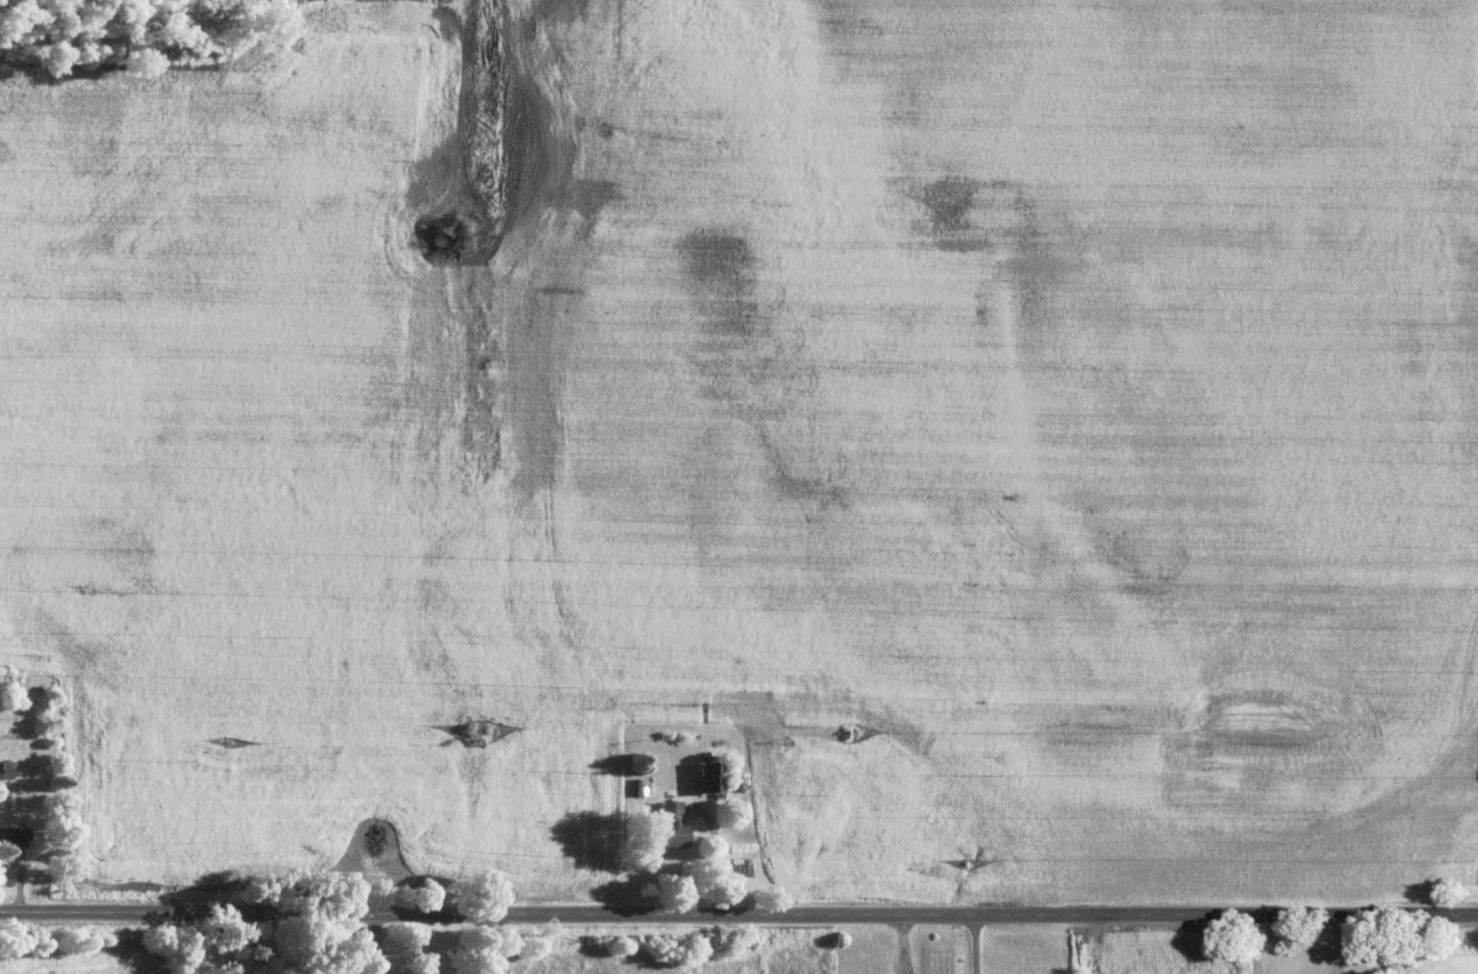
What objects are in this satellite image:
building: (703, 774)
building: (666, 824)
building: (12, 834)
road: (738, 916)
road: (1333, 943)
road: (972, 944)
road: (900, 945)
road: (485, 946)
building: (320, 972)

